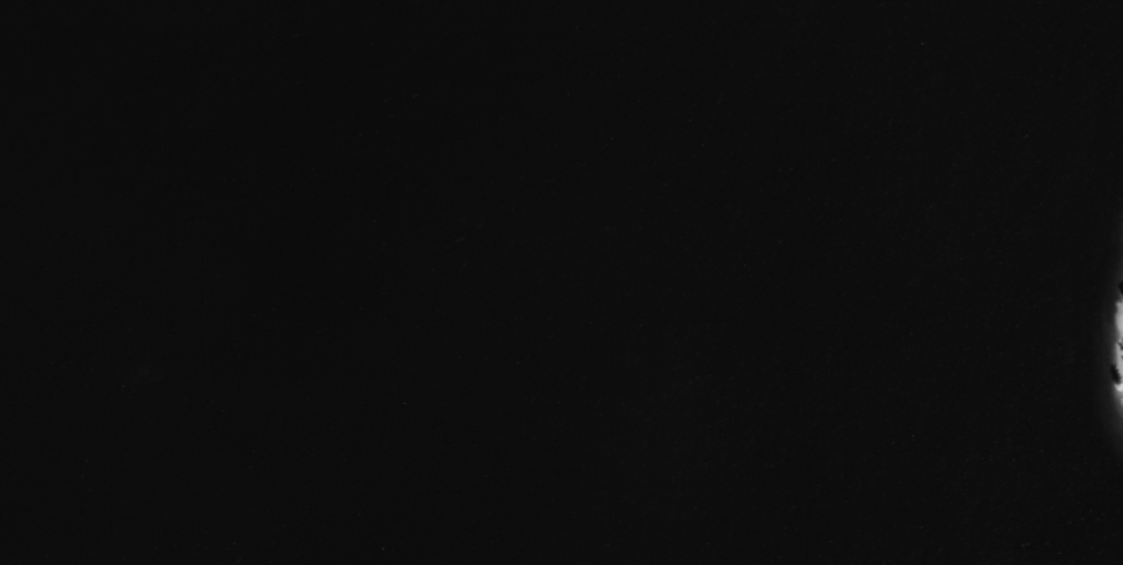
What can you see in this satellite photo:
river: (53, 410)

